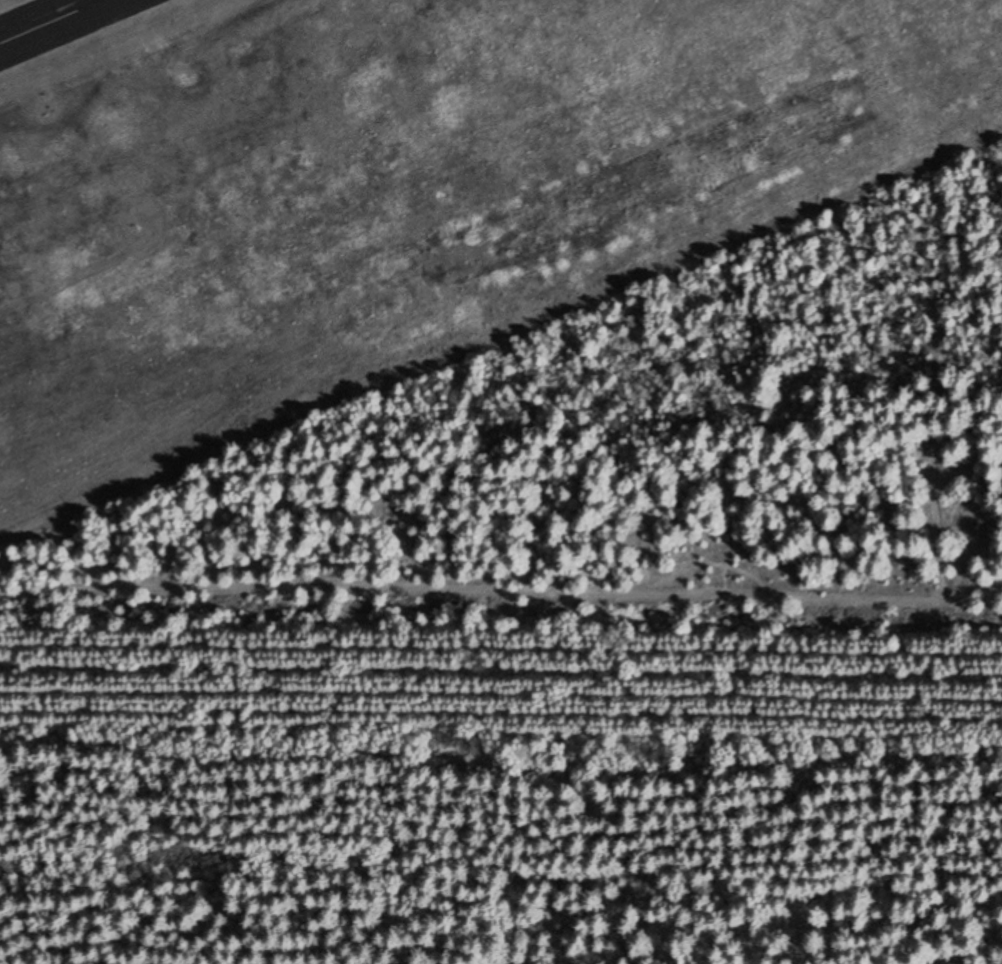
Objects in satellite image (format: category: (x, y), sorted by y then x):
airport runway: (50, 21)
airport: (394, 184)

